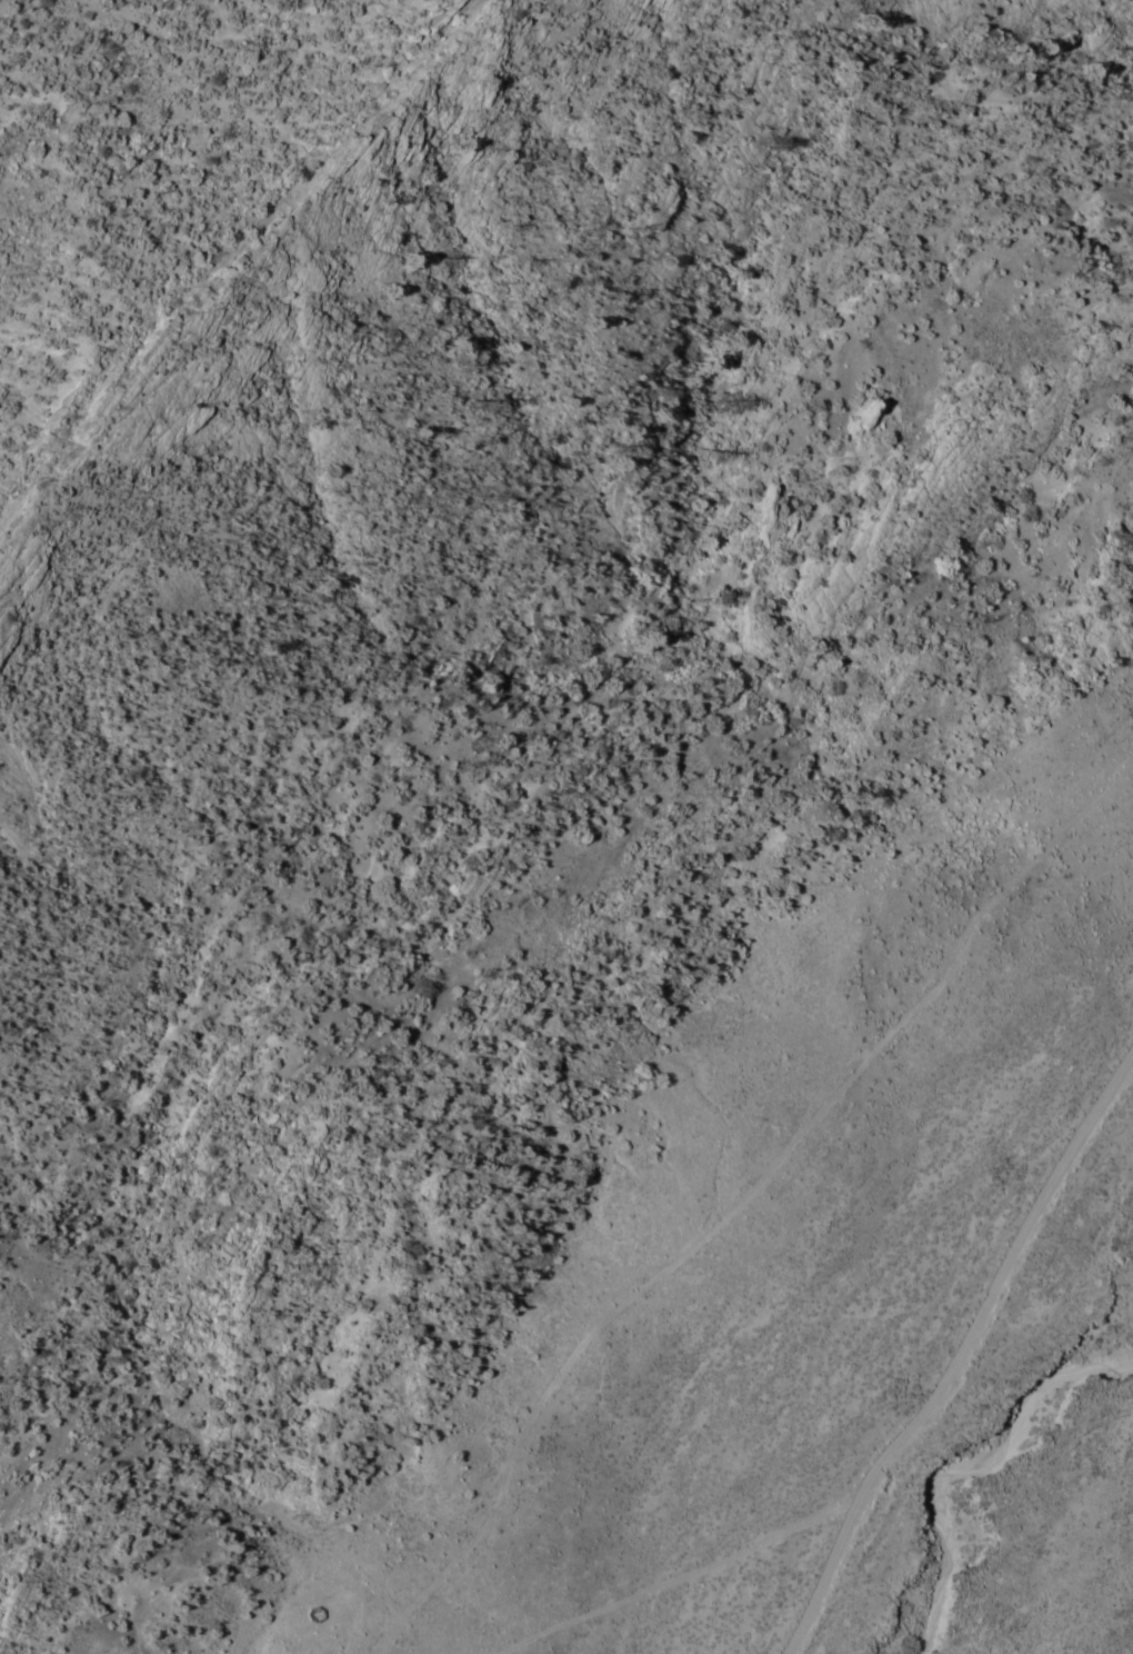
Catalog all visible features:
road: (935, 1319)

